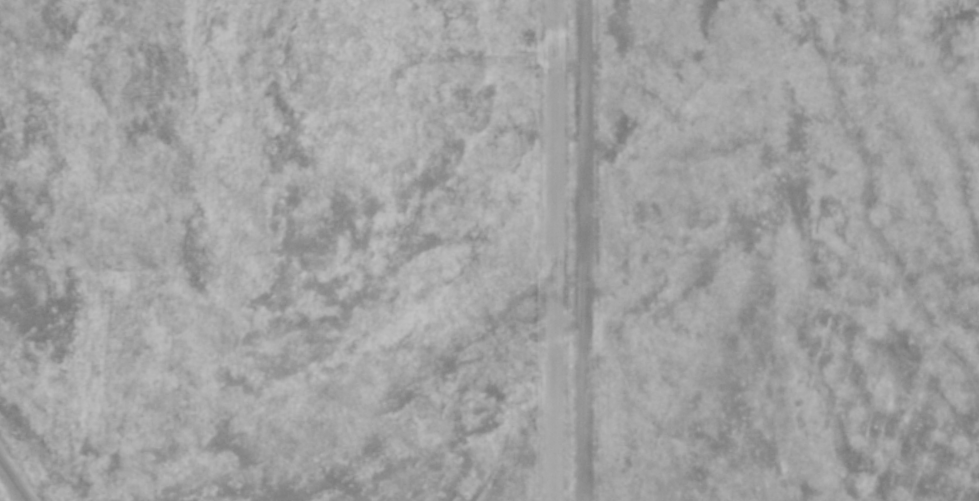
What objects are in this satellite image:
airport: (292, 250)
road: (564, 250)
road: (14, 478)

